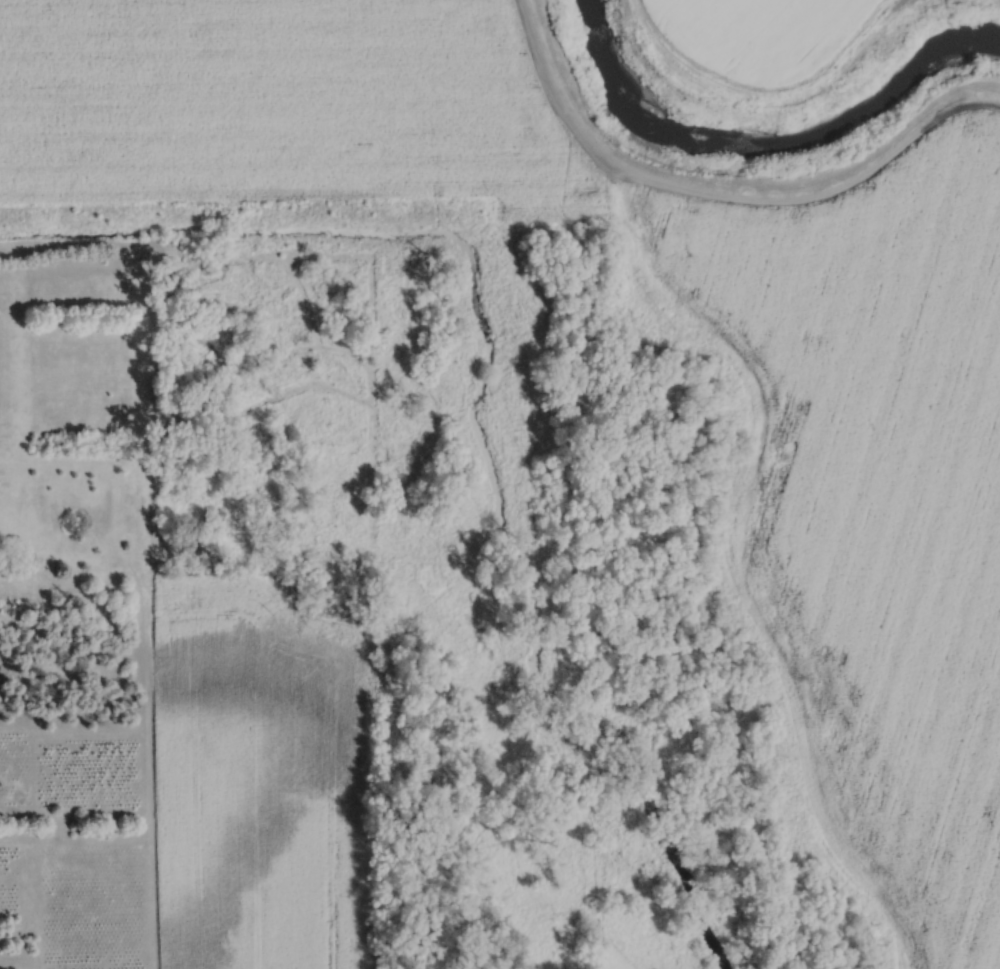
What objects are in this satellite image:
river: (770, 145)

